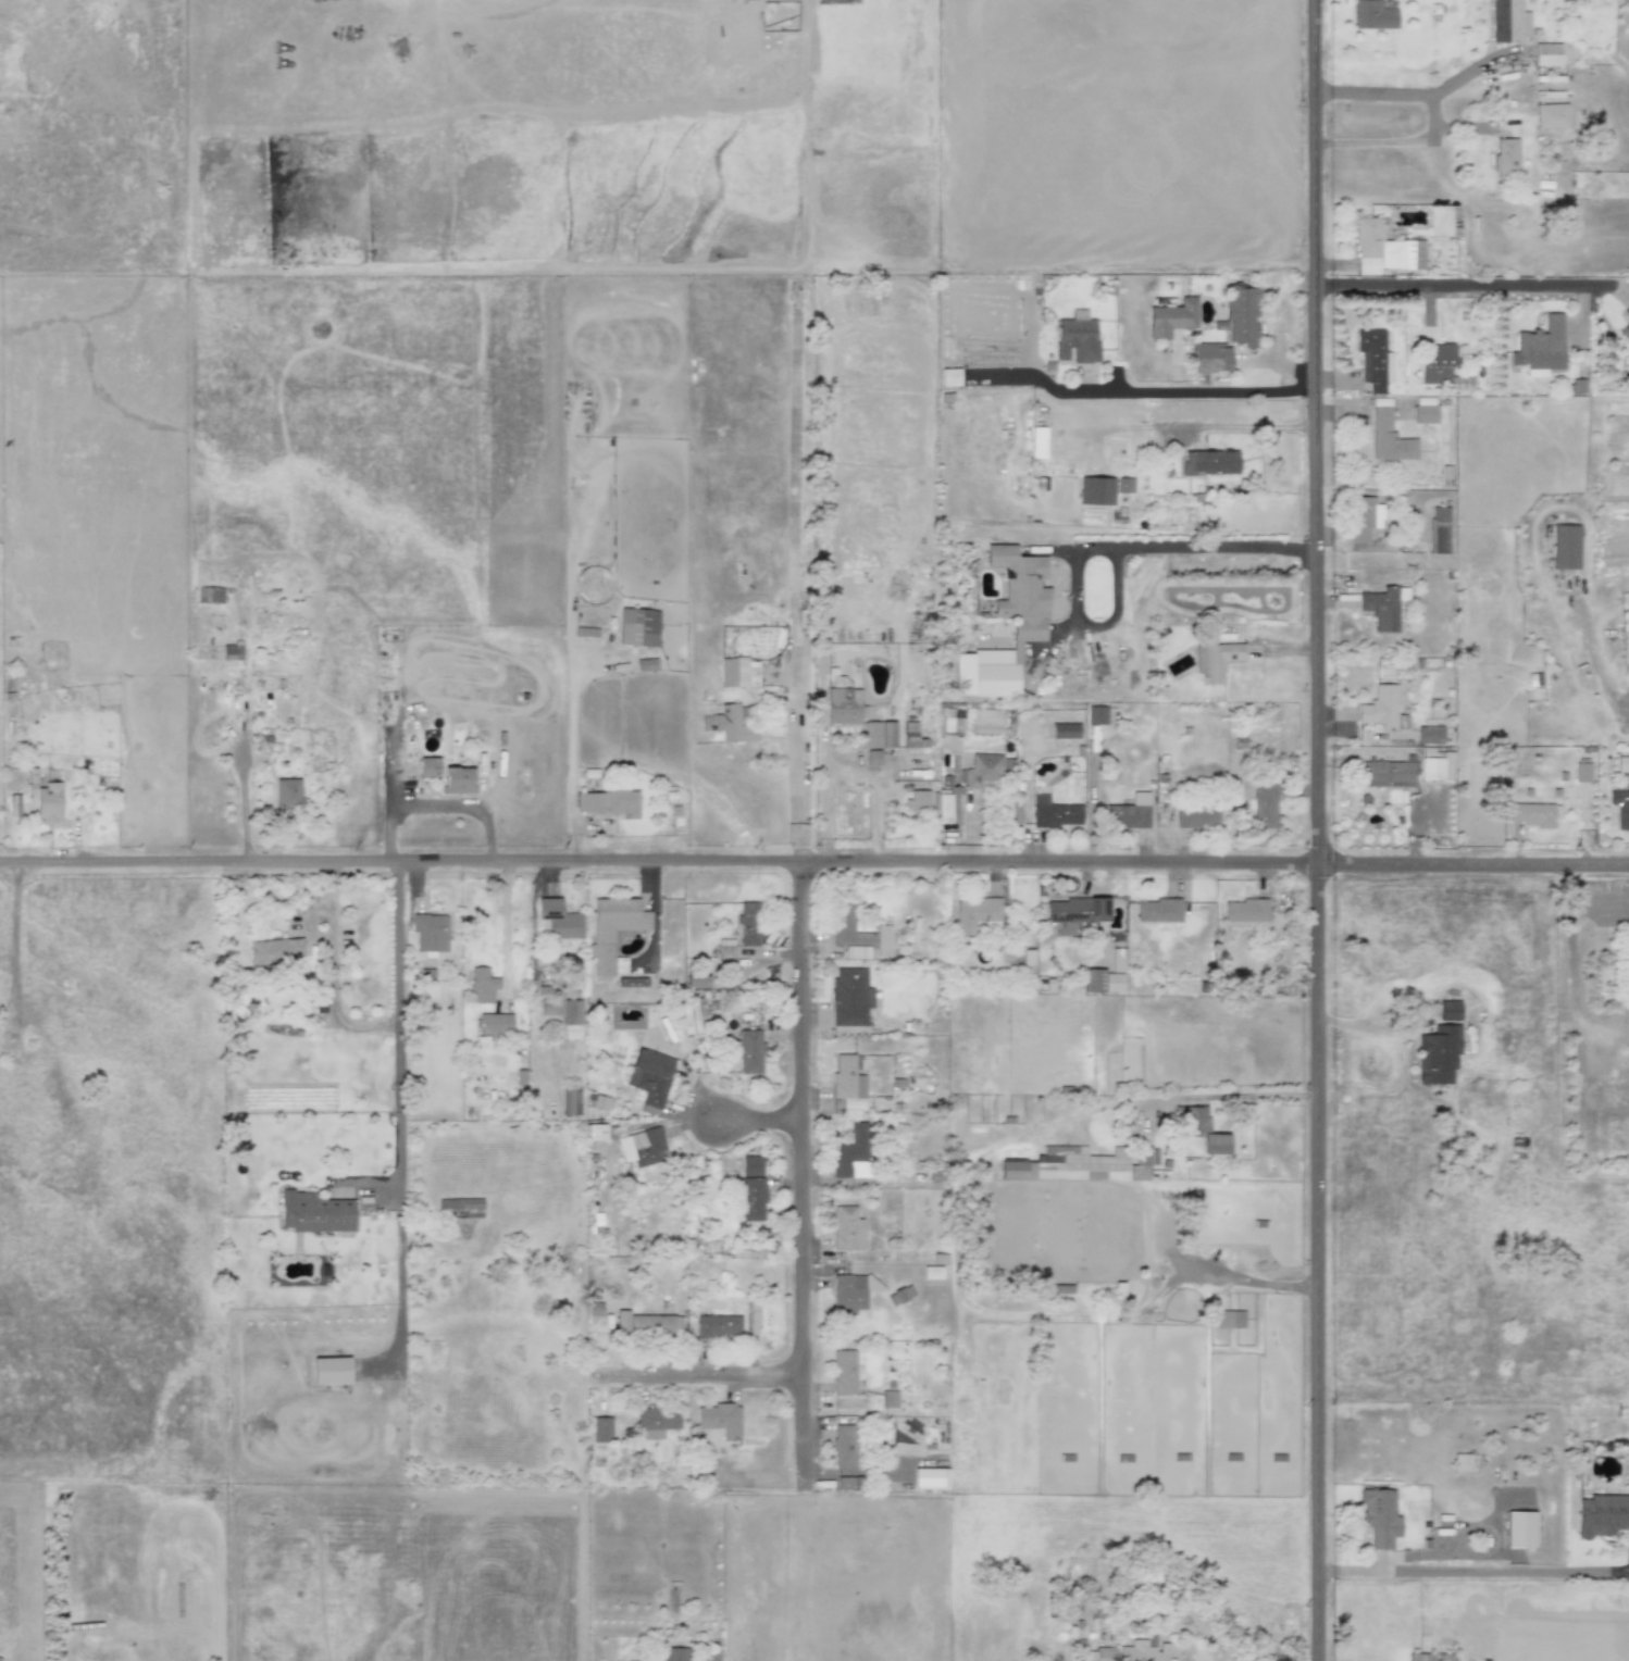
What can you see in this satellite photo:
building: (739, 0)
building: (1372, 15)
building: (1507, 21)
building: (1547, 54)
road: (1410, 93)
building: (1551, 115)
road: (1440, 133)
road: (1373, 141)
building: (1505, 159)
building: (1384, 247)
road: (1460, 287)
building: (1627, 312)
building: (1239, 315)
building: (1171, 317)
building: (1625, 334)
building: (1075, 340)
building: (1540, 348)
building: (1211, 358)
building: (1371, 358)
building: (1437, 363)
building: (1388, 366)
building: (949, 377)
road: (1190, 390)
building: (1425, 410)
building: (1389, 435)
building: (1209, 462)
building: (1126, 485)
building: (1093, 490)
building: (1360, 519)
building: (1440, 528)
building: (1566, 547)
road: (1204, 551)
road: (797, 584)
building: (210, 595)
building: (1383, 607)
building: (638, 627)
building: (1029, 628)
building: (231, 651)
building: (1215, 661)
building: (738, 672)
building: (843, 705)
building: (1380, 707)
building: (1096, 714)
building: (952, 717)
road: (1619, 719)
building: (986, 721)
building: (733, 725)
building: (1065, 730)
building: (887, 734)
building: (871, 735)
building: (910, 735)
building: (1429, 735)
building: (872, 758)
road: (570, 763)
building: (1435, 764)
building: (1622, 764)
building: (428, 766)
road: (843, 769)
building: (982, 772)
building: (1582, 772)
building: (1388, 773)
building: (457, 780)
building: (287, 794)
building: (1628, 797)
building: (917, 800)
building: (48, 801)
building: (589, 802)
building: (622, 802)
building: (1264, 805)
building: (943, 807)
building: (1129, 812)
building: (1055, 813)
building: (1531, 814)
building: (1195, 815)
road: (1316, 829)
road: (814, 865)
road: (1583, 903)
building: (1077, 910)
building: (1157, 910)
building: (1245, 913)
building: (975, 914)
building: (557, 920)
building: (748, 923)
building: (612, 927)
building: (430, 932)
building: (858, 936)
building: (725, 950)
building: (275, 951)
building: (1117, 960)
road: (328, 974)
building: (697, 981)
building: (1102, 981)
building: (631, 982)
building: (482, 986)
building: (850, 997)
building: (550, 1007)
building: (1448, 1010)
building: (570, 1012)
building: (691, 1016)
building: (494, 1024)
road: (399, 1034)
building: (749, 1051)
building: (1438, 1053)
building: (1628, 1061)
building: (649, 1077)
building: (847, 1083)
road: (1240, 1096)
building: (570, 1101)
building: (599, 1102)
road: (762, 1126)
building: (1199, 1129)
building: (597, 1132)
building: (642, 1147)
building: (851, 1154)
building: (1079, 1164)
building: (751, 1165)
road: (805, 1183)
building: (751, 1199)
building: (463, 1206)
building: (314, 1212)
building: (450, 1213)
building: (847, 1228)
road: (1248, 1283)
building: (851, 1291)
building: (899, 1295)
building: (1230, 1319)
building: (647, 1325)
building: (718, 1326)
building: (331, 1371)
building: (844, 1372)
road: (696, 1383)
building: (888, 1399)
building: (720, 1420)
building: (656, 1422)
building: (600, 1429)
building: (845, 1446)
building: (1462, 1463)
building: (930, 1477)
building: (844, 1483)
building: (1602, 1515)
building: (1380, 1516)
building: (1520, 1529)
road: (1472, 1571)
road: (1207, 1645)
building: (1144, 1651)
building: (673, 1653)
building: (1105, 1654)
building: (1429, 1657)

